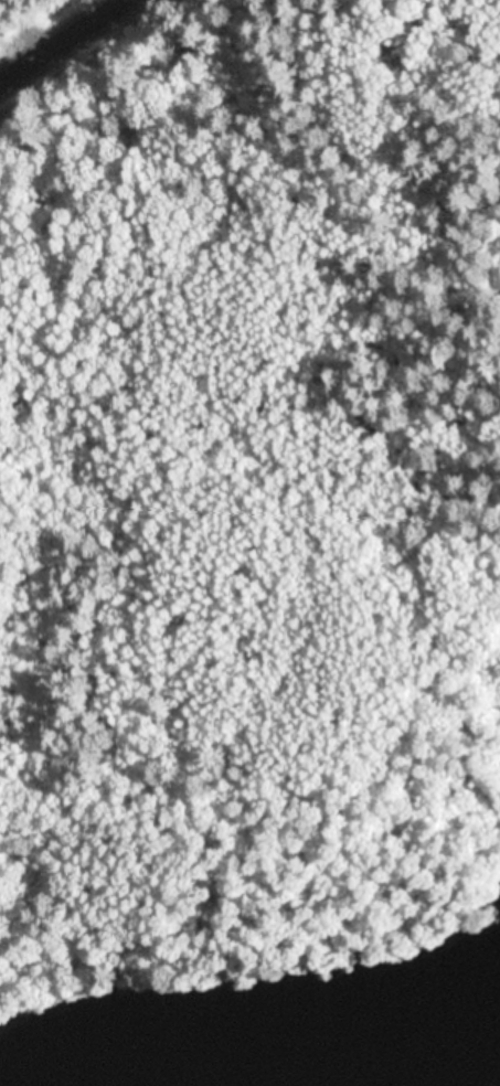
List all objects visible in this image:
road: (23, 23)
road: (61, 41)

